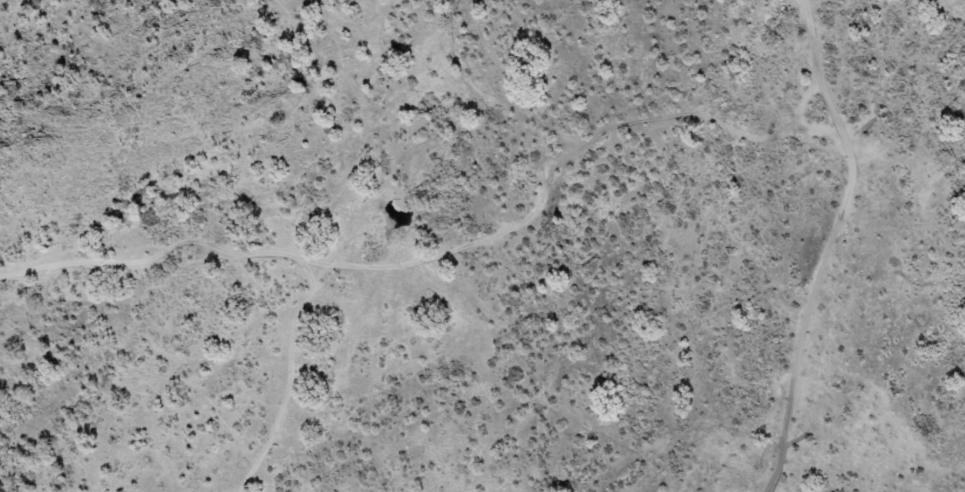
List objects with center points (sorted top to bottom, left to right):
road: (830, 246)
road: (440, 251)

